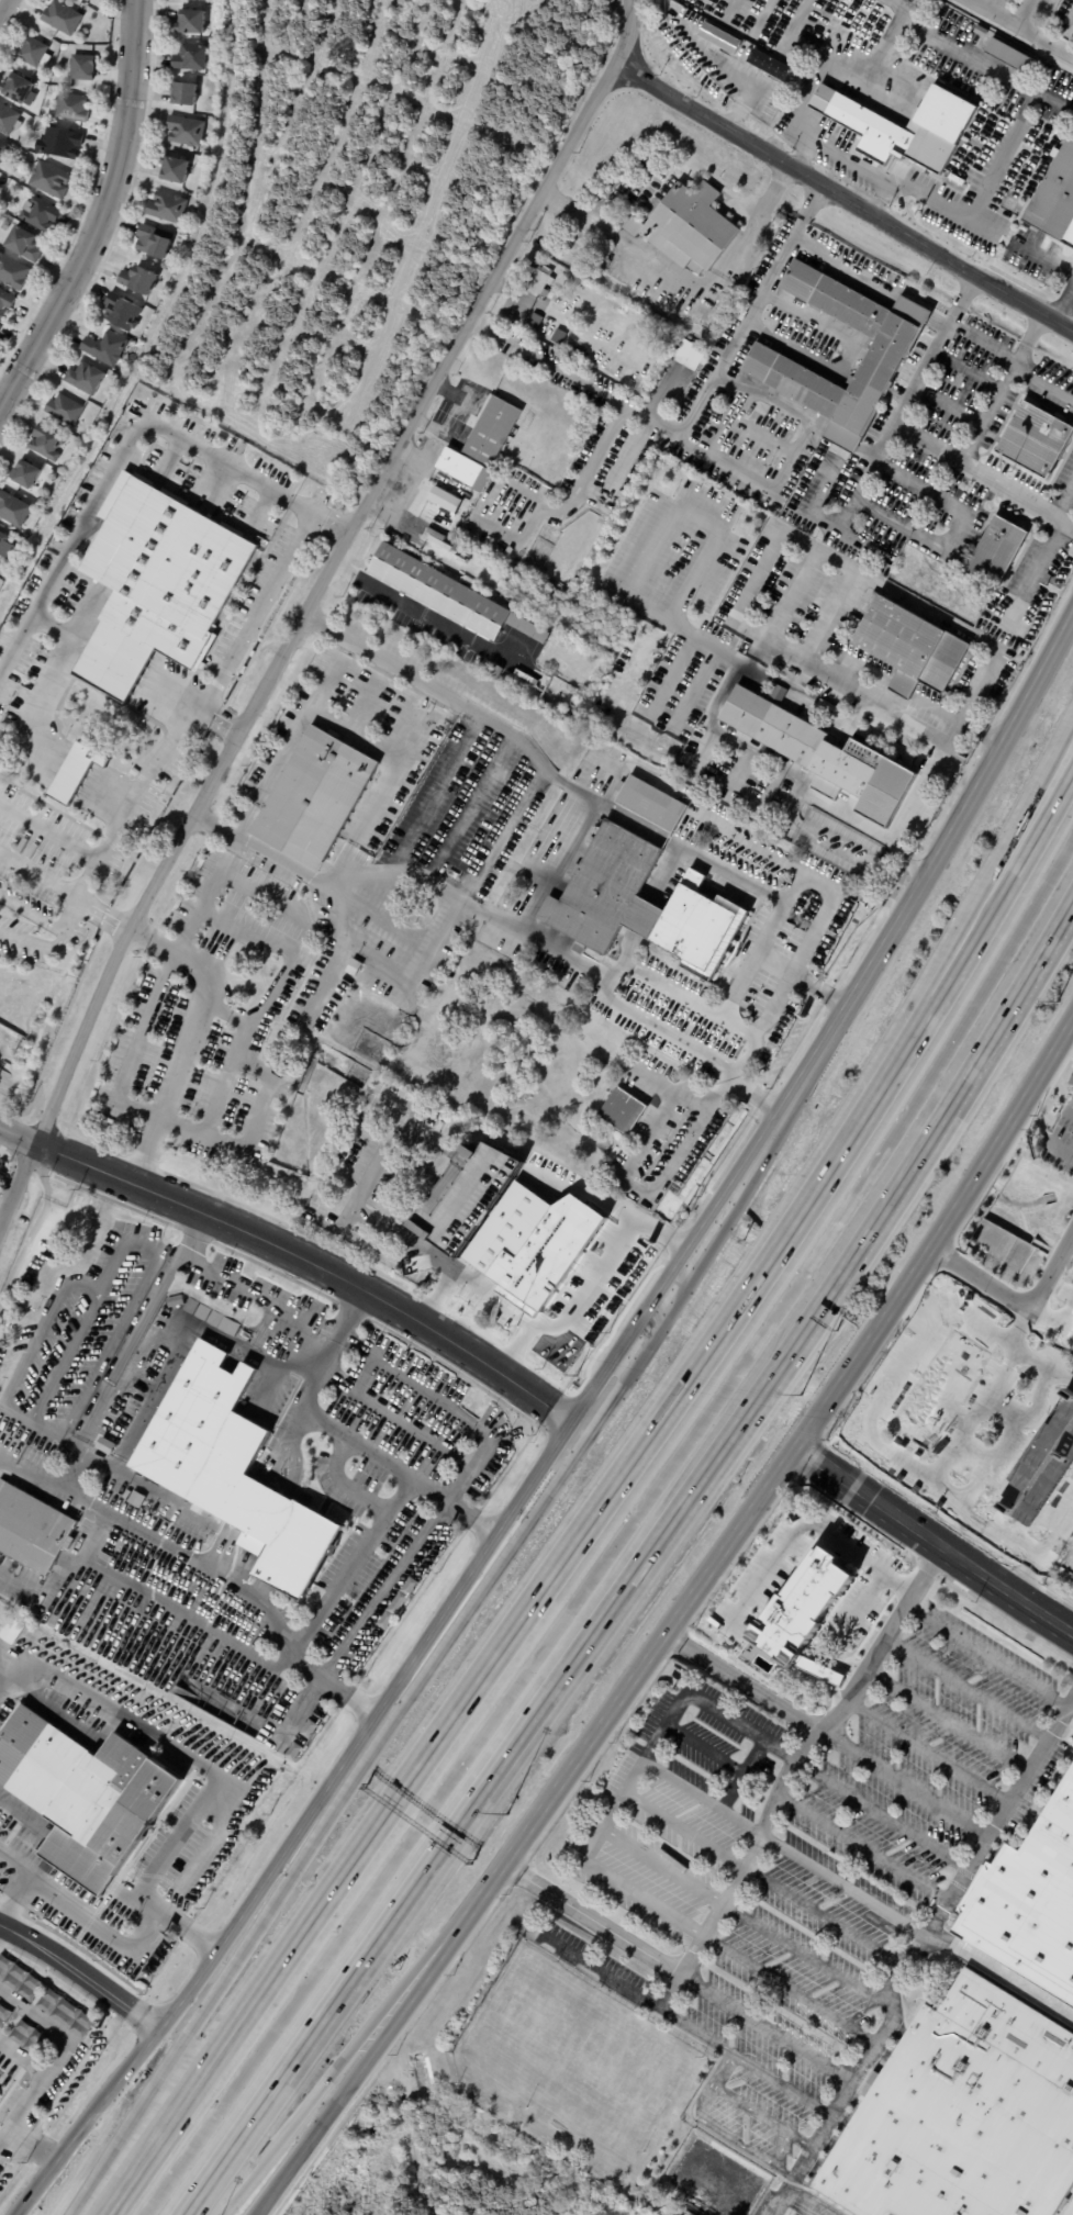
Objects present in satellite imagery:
road: (691, 4)
road: (902, 5)
road: (3, 7)
road: (728, 9)
road: (1025, 12)
road: (759, 16)
building: (64, 18)
building: (193, 21)
road: (795, 23)
road: (1024, 26)
building: (980, 32)
building: (35, 53)
building: (194, 57)
building: (1009, 57)
road: (828, 58)
road: (719, 65)
building: (83, 68)
road: (1001, 71)
building: (22, 91)
building: (186, 93)
road: (744, 101)
building: (75, 109)
building: (9, 120)
building: (906, 128)
building: (188, 130)
building: (62, 144)
building: (4, 150)
building: (177, 169)
building: (51, 179)
building: (1055, 199)
road: (881, 200)
road: (842, 202)
building: (169, 208)
road: (98, 212)
road: (953, 213)
building: (41, 214)
building: (11, 220)
building: (9, 226)
building: (688, 228)
building: (155, 242)
building: (24, 244)
road: (1046, 258)
building: (605, 265)
road: (843, 271)
building: (13, 272)
building: (143, 280)
building: (538, 280)
road: (688, 283)
building: (5, 303)
road: (1063, 307)
road: (914, 310)
building: (124, 311)
road: (938, 323)
building: (0, 324)
building: (0, 328)
building: (824, 346)
building: (683, 347)
building: (108, 348)
building: (635, 350)
building: (885, 355)
road: (850, 362)
building: (116, 376)
road: (1043, 377)
building: (89, 378)
road: (997, 389)
road: (457, 395)
road: (771, 402)
building: (68, 411)
road: (692, 412)
road: (440, 428)
building: (491, 430)
road: (908, 433)
road: (842, 440)
building: (1035, 440)
building: (48, 443)
road: (130, 443)
road: (719, 456)
building: (461, 469)
building: (29, 474)
road: (863, 474)
road: (580, 490)
road: (1063, 496)
building: (446, 499)
building: (14, 508)
road: (962, 523)
road: (515, 537)
building: (7, 545)
building: (995, 552)
road: (337, 570)
road: (1037, 570)
building: (160, 584)
building: (446, 593)
road: (257, 608)
road: (431, 615)
road: (1065, 625)
road: (62, 628)
road: (87, 629)
road: (83, 634)
road: (126, 638)
road: (79, 642)
road: (77, 647)
road: (121, 647)
building: (908, 647)
road: (75, 650)
road: (118, 655)
road: (111, 664)
road: (154, 668)
road: (107, 672)
road: (150, 672)
building: (494, 672)
road: (843, 675)
road: (51, 679)
road: (102, 680)
road: (146, 680)
road: (144, 684)
road: (142, 687)
road: (170, 691)
road: (293, 736)
road: (388, 753)
building: (825, 758)
road: (56, 759)
road: (55, 762)
road: (77, 763)
road: (52, 769)
road: (74, 771)
building: (77, 772)
road: (48, 773)
road: (70, 775)
road: (145, 776)
road: (91, 781)
road: (67, 783)
road: (90, 784)
road: (63, 791)
road: (87, 791)
road: (579, 792)
road: (85, 794)
road: (103, 796)
building: (315, 798)
building: (650, 803)
road: (912, 804)
road: (367, 816)
road: (1024, 824)
road: (51, 830)
road: (1025, 848)
building: (716, 854)
building: (538, 866)
building: (452, 874)
road: (806, 874)
road: (41, 876)
building: (499, 890)
building: (640, 904)
road: (488, 911)
road: (69, 919)
building: (569, 986)
road: (821, 989)
road: (680, 993)
road: (763, 1030)
road: (187, 1039)
building: (1072, 1084)
building: (390, 1097)
road: (758, 1097)
building: (619, 1110)
road: (1072, 1114)
road: (1061, 1149)
building: (462, 1151)
road: (633, 1192)
road: (20, 1193)
road: (639, 1208)
building: (415, 1228)
road: (395, 1230)
road: (33, 1239)
building: (519, 1250)
road: (294, 1252)
road: (172, 1257)
building: (629, 1265)
road: (590, 1283)
road: (246, 1286)
building: (467, 1287)
road: (492, 1296)
road: (1015, 1298)
building: (605, 1299)
building: (175, 1301)
building: (189, 1306)
road: (137, 1308)
building: (201, 1312)
building: (214, 1319)
building: (226, 1325)
road: (36, 1330)
building: (245, 1334)
road: (172, 1351)
road: (62, 1358)
road: (433, 1389)
road: (298, 1420)
road: (415, 1424)
road: (55, 1435)
road: (348, 1436)
road: (559, 1439)
building: (102, 1447)
road: (793, 1450)
road: (277, 1459)
road: (293, 1464)
building: (234, 1473)
road: (340, 1483)
road: (51, 1484)
building: (135, 1497)
road: (250, 1506)
road: (264, 1522)
road: (803, 1526)
building: (34, 1531)
building: (208, 1540)
road: (934, 1540)
road: (225, 1550)
road: (351, 1560)
road: (639, 1565)
road: (239, 1567)
road: (60, 1579)
road: (550, 1580)
building: (1072, 1587)
road: (250, 1596)
road: (863, 1596)
building: (806, 1606)
road: (985, 1656)
road: (3, 1679)
road: (742, 1680)
road: (420, 1683)
road: (968, 1688)
road: (1072, 1693)
road: (949, 1720)
road: (174, 1748)
road: (703, 1748)
road: (928, 1750)
road: (800, 1753)
road: (741, 1774)
road: (630, 1779)
road: (903, 1785)
road: (698, 1796)
building: (89, 1797)
road: (882, 1813)
road: (1001, 1813)
road: (685, 1822)
road: (863, 1847)
road: (662, 1860)
road: (15, 1866)
road: (843, 1883)
building: (1028, 1903)
road: (818, 1913)
road: (109, 1932)
road: (805, 1956)
road: (80, 1976)
building: (18, 1979)
road: (1001, 1979)
road: (789, 1990)
building: (65, 2013)
building: (3, 2014)
road: (751, 2023)
building: (25, 2037)
road: (356, 2041)
road: (712, 2041)
road: (376, 2046)
road: (59, 2051)
road: (22, 2058)
road: (782, 2085)
building: (963, 2115)
road: (763, 2117)
road: (818, 2137)
road: (34, 2145)
road: (749, 2149)
road: (793, 2193)
road: (1071, 2211)

